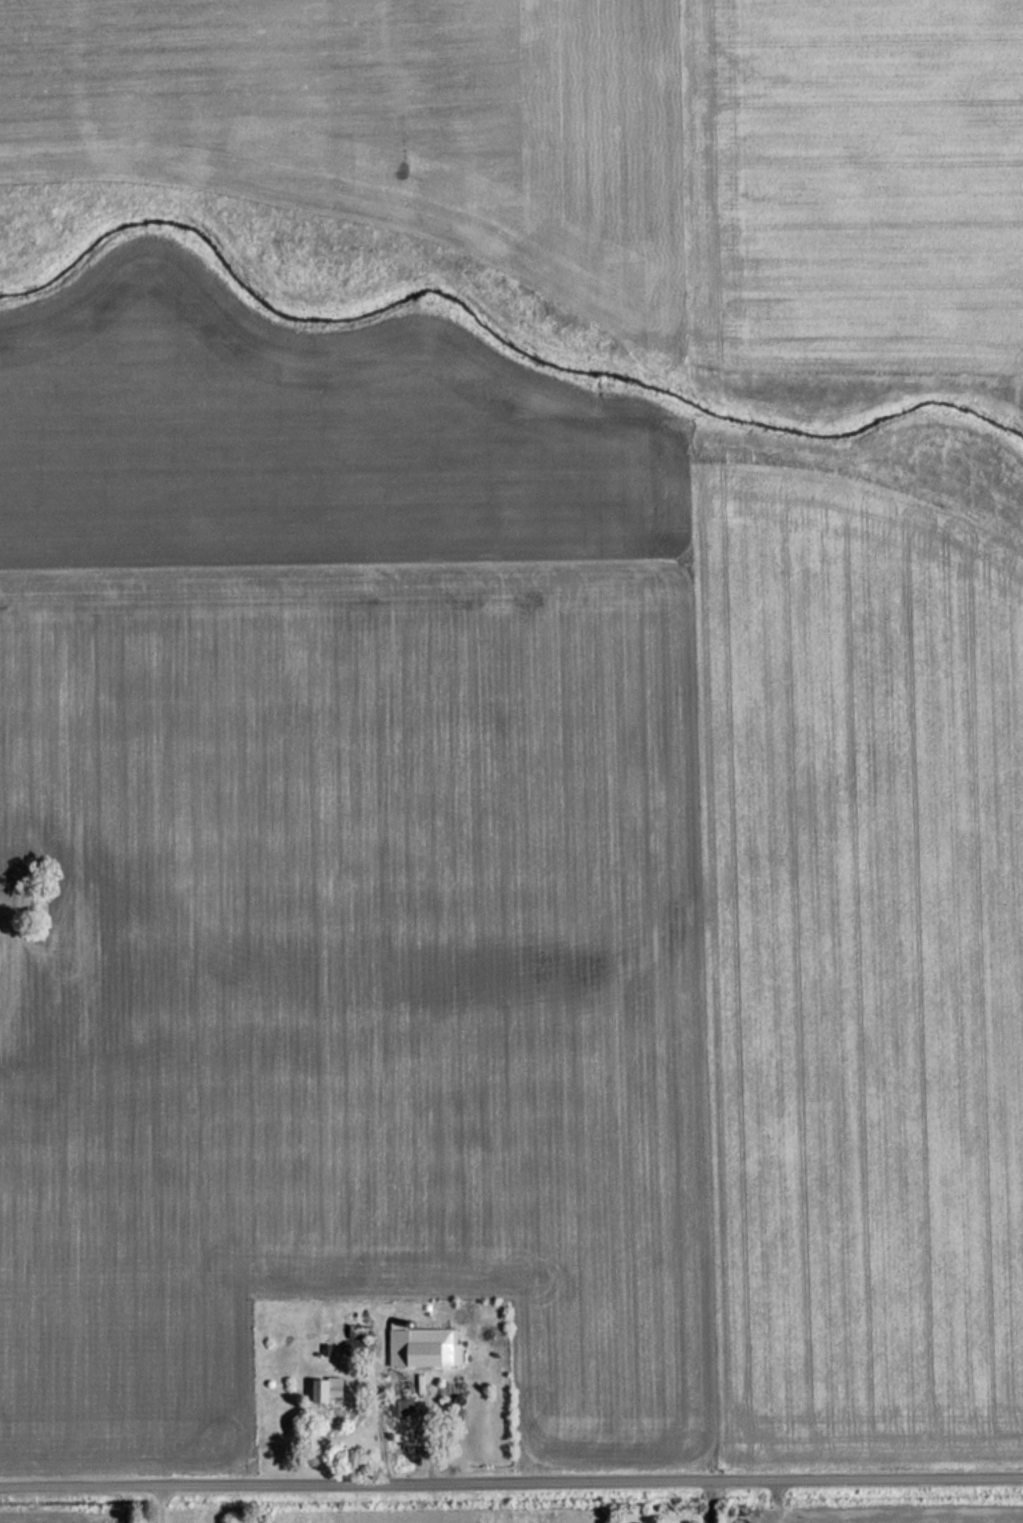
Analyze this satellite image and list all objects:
crop: (380, 121)
crop: (850, 186)
crop: (300, 442)
crop: (856, 968)
crop: (349, 992)
building: (350, 1344)
building: (419, 1347)
building: (321, 1390)
building: (398, 1408)
road: (511, 1482)
road: (711, 1501)
road: (162, 1505)
crop: (915, 1514)
crop: (67, 1521)

